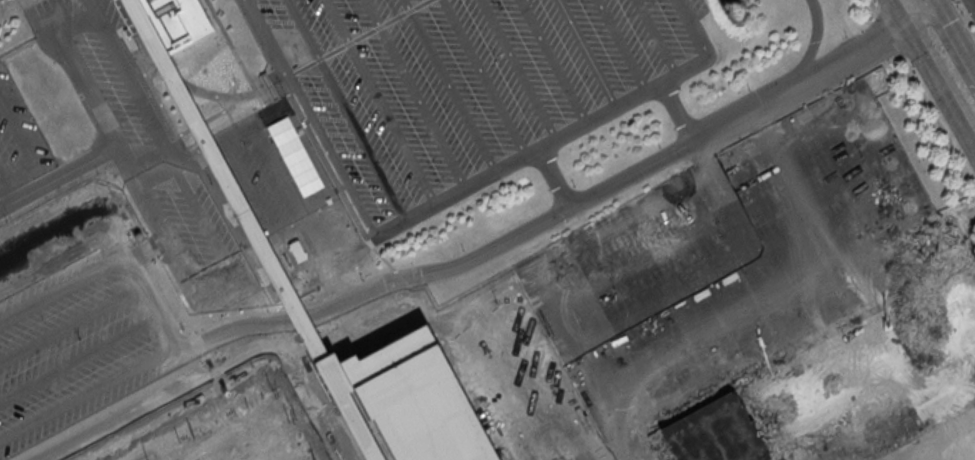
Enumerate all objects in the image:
road: (43, 9)
road: (916, 9)
road: (897, 10)
building: (165, 19)
traffic signals: (905, 21)
road: (696, 28)
road: (24, 30)
road: (656, 37)
road: (954, 37)
road: (619, 46)
road: (811, 51)
road: (586, 53)
road: (554, 61)
road: (241, 63)
road: (517, 69)
road: (34, 72)
road: (482, 77)
road: (940, 81)
road: (449, 85)
road: (922, 92)
road: (414, 93)
road: (220, 98)
road: (92, 100)
road: (378, 101)
road: (344, 108)
road: (677, 112)
road: (216, 113)
road: (44, 116)
road: (309, 116)
parking lot: (364, 118)
road: (149, 121)
parking lot: (19, 139)
road: (211, 145)
road: (542, 145)
road: (895, 151)
road: (54, 160)
building: (222, 176)
road: (554, 177)
road: (321, 178)
road: (700, 180)
road: (298, 209)
road: (557, 213)
road: (721, 220)
road: (268, 223)
road: (911, 236)
road: (745, 237)
parking lot: (727, 260)
road: (742, 260)
road: (328, 269)
road: (78, 277)
road: (226, 282)
road: (336, 289)
road: (862, 296)
road: (762, 298)
road: (161, 318)
road: (71, 321)
parking lot: (81, 341)
road: (578, 347)
road: (79, 357)
road: (221, 365)
building: (837, 368)
road: (707, 380)
road: (88, 393)
building: (408, 399)
road: (898, 422)
building: (356, 427)
building: (243, 436)
building: (942, 445)
road: (622, 450)

